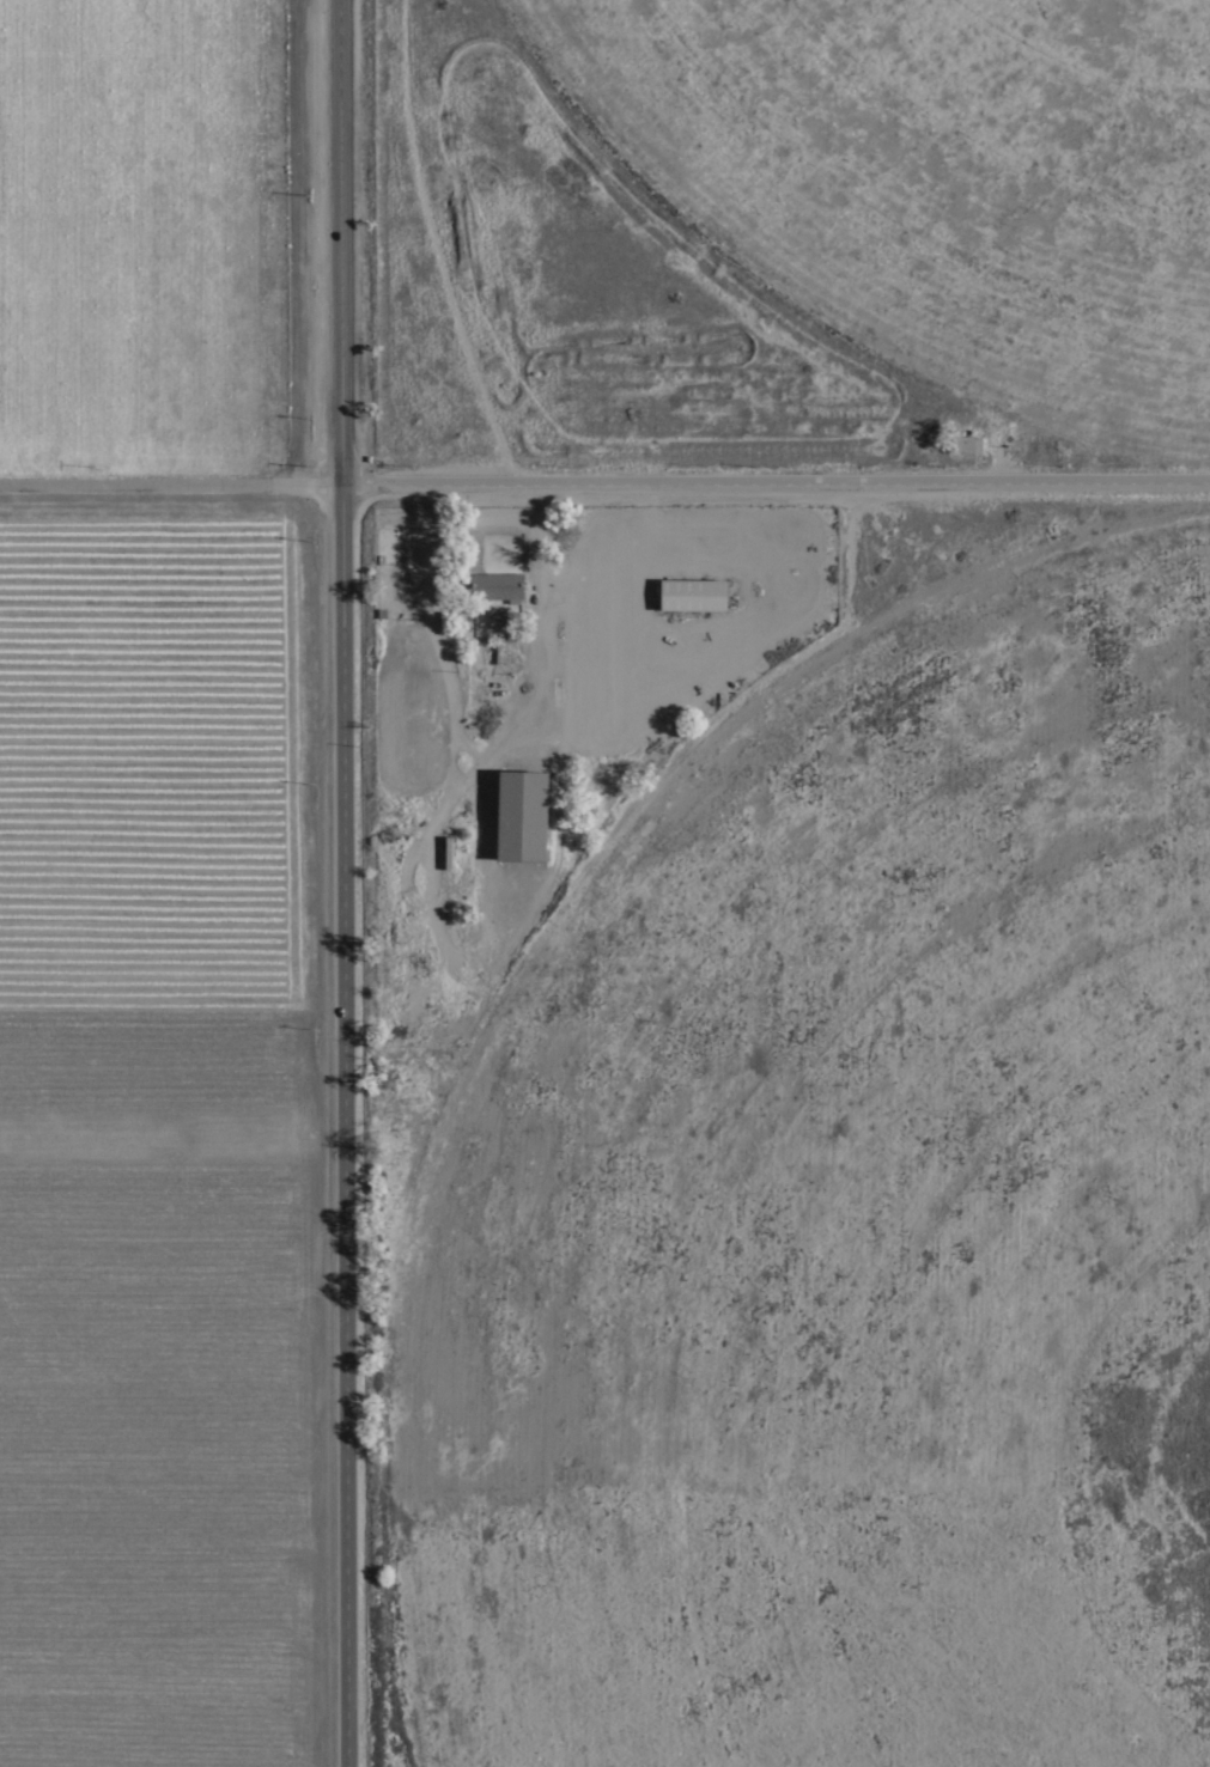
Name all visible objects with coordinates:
crop: (940, 177)
building: (965, 443)
road: (604, 483)
building: (497, 585)
building: (695, 591)
building: (497, 615)
building: (505, 648)
building: (524, 812)
road: (346, 883)
crop: (172, 894)
crop: (846, 1227)

